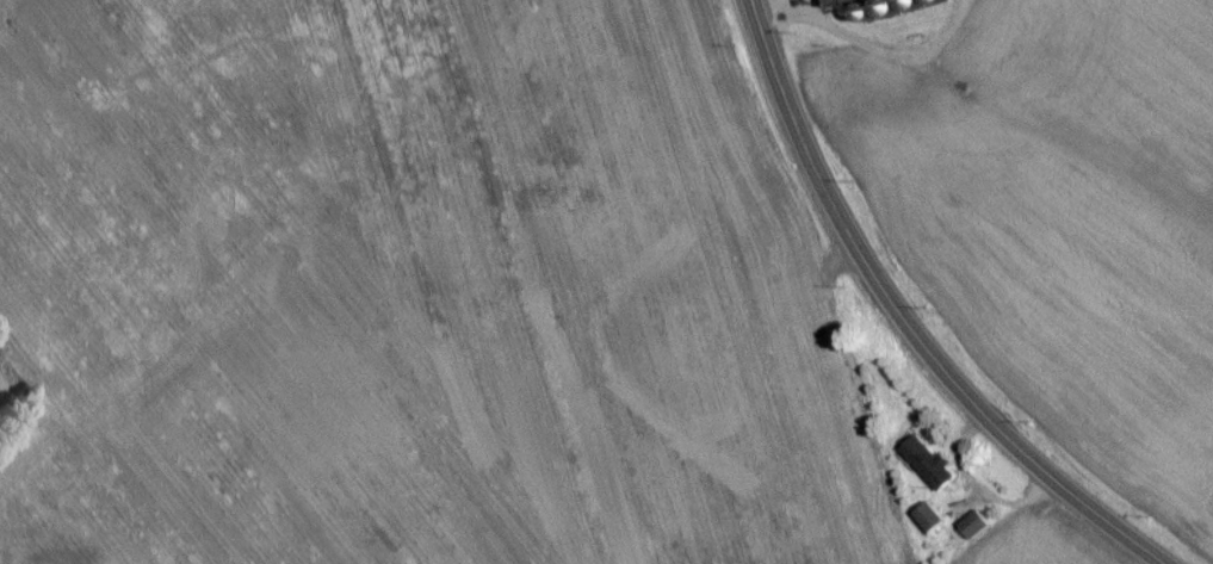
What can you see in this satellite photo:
road: (898, 321)
building: (927, 469)
building: (929, 523)
building: (973, 531)

